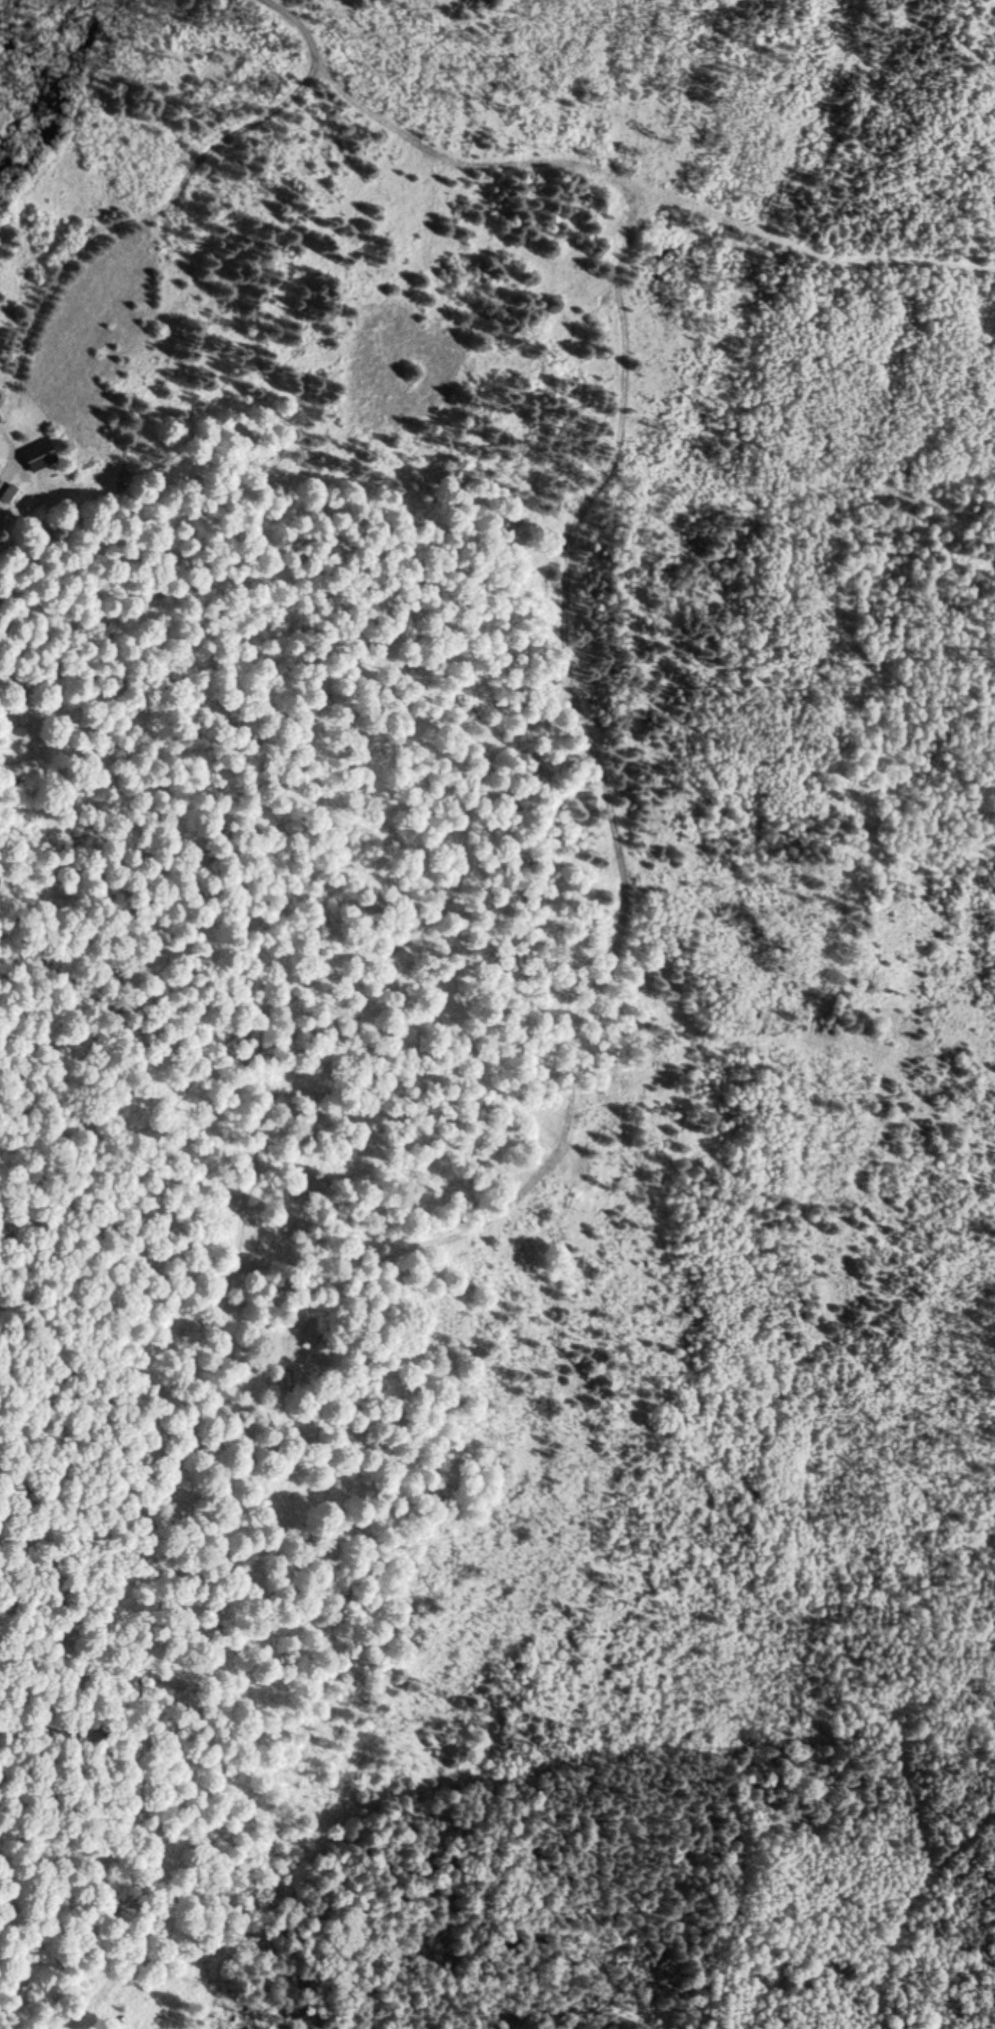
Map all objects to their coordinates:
building: (0, 421)
building: (40, 458)
building: (0, 463)

